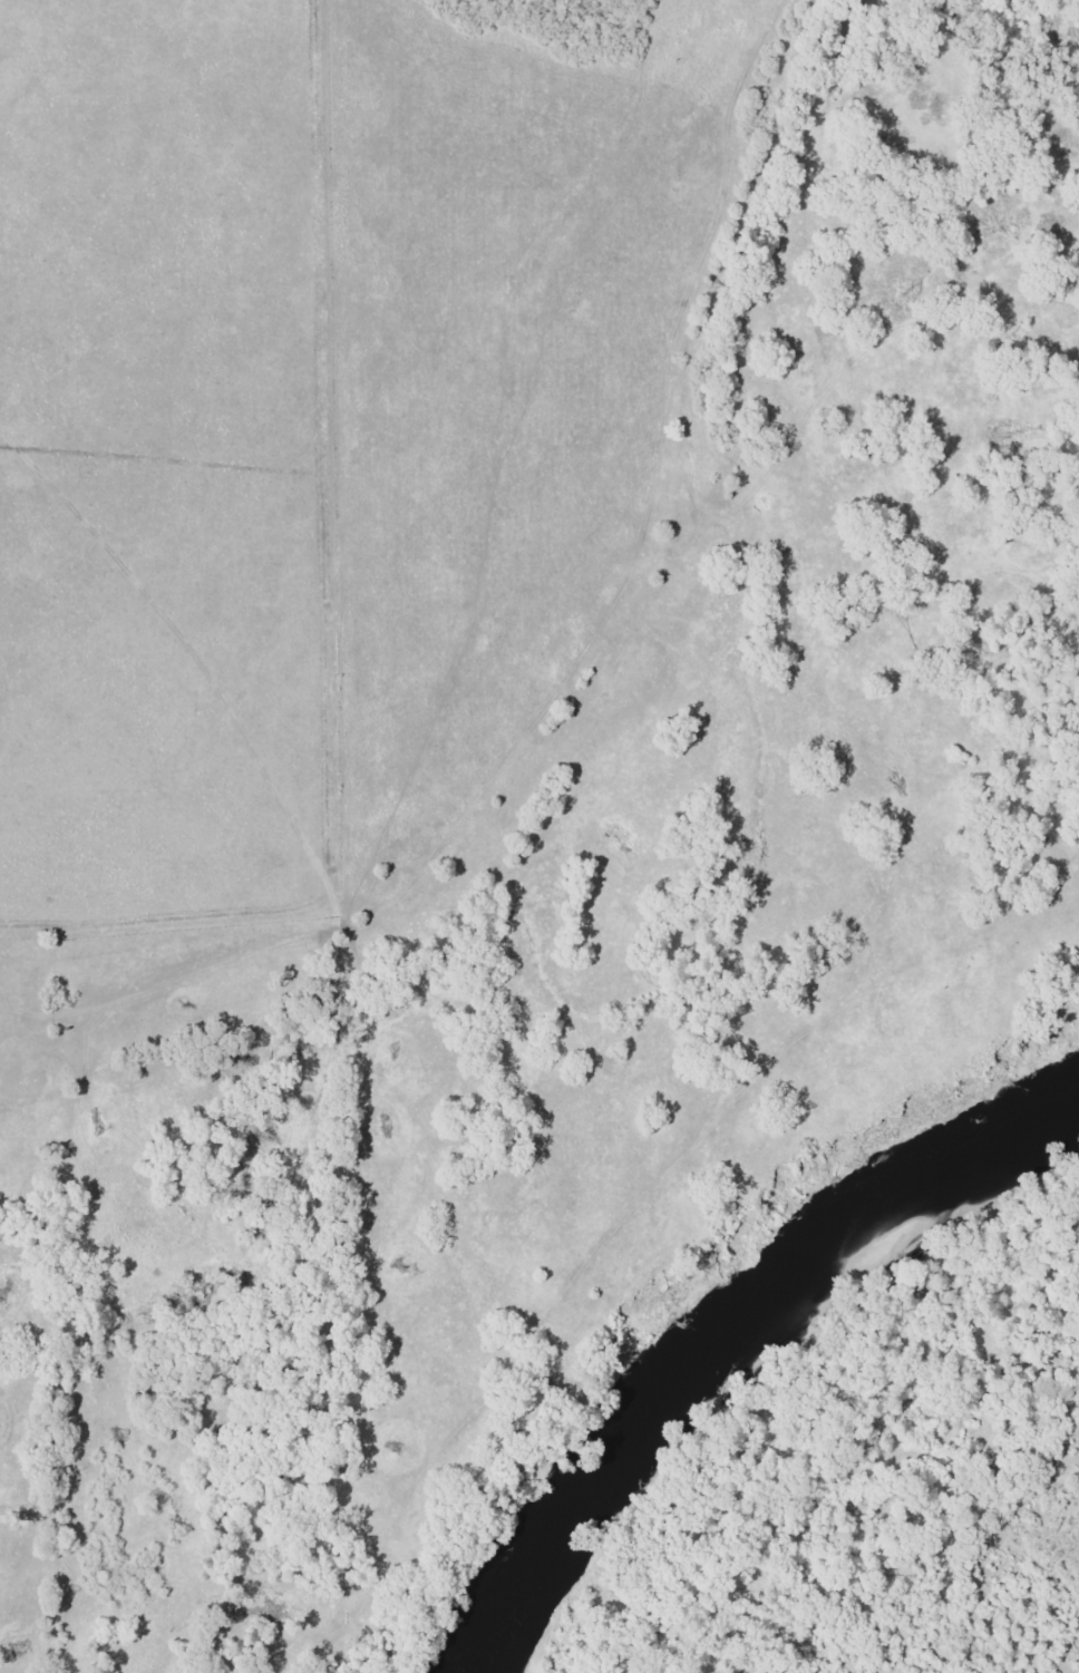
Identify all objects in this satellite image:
road: (654, 1248)
river: (715, 1323)

